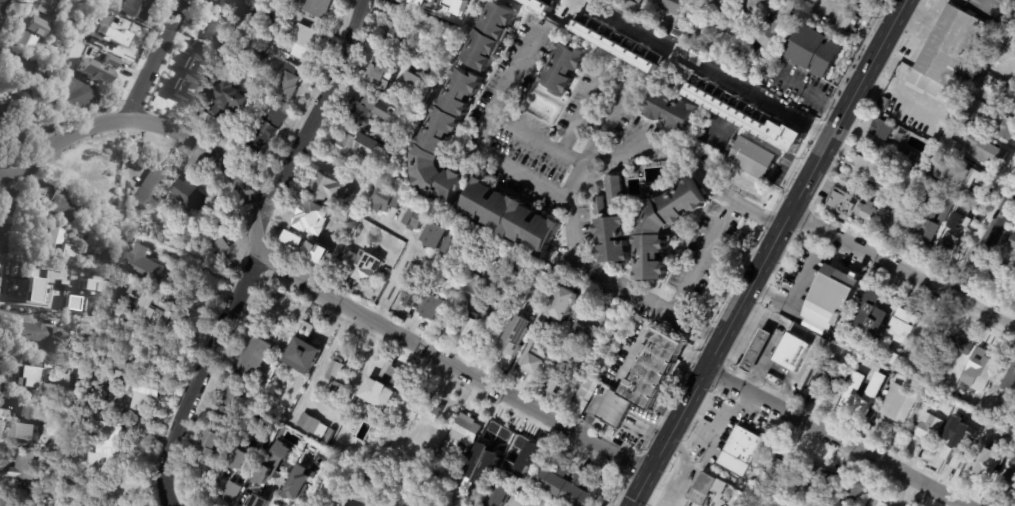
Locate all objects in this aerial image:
power tower: (15, 1)
building: (245, 1)
building: (420, 1)
building: (752, 3)
building: (632, 6)
building: (672, 6)
building: (718, 6)
road: (3, 7)
building: (48, 7)
building: (319, 7)
building: (136, 9)
building: (276, 14)
building: (396, 15)
building: (218, 21)
building: (575, 22)
building: (413, 24)
building: (845, 25)
building: (663, 26)
building: (106, 30)
building: (677, 34)
building: (490, 35)
building: (398, 36)
building: (773, 36)
building: (1005, 39)
building: (28, 40)
building: (126, 40)
building: (617, 42)
building: (698, 42)
building: (307, 43)
building: (195, 46)
building: (953, 48)
building: (818, 53)
building: (421, 55)
building: (232, 56)
building: (55, 59)
road: (158, 60)
building: (990, 63)
building: (195, 64)
building: (19, 67)
building: (105, 68)
building: (619, 68)
building: (563, 69)
road: (705, 69)
building: (94, 72)
building: (385, 78)
building: (288, 83)
building: (990, 84)
building: (187, 88)
building: (76, 93)
building: (232, 96)
building: (1010, 101)
building: (0, 104)
building: (885, 104)
building: (376, 110)
building: (1, 111)
building: (672, 112)
building: (743, 113)
road: (605, 122)
building: (969, 122)
building: (1002, 125)
building: (884, 129)
building: (267, 130)
building: (19, 131)
building: (900, 138)
building: (443, 139)
road: (535, 139)
building: (951, 143)
building: (361, 147)
road: (674, 150)
building: (986, 150)
building: (887, 152)
building: (903, 154)
building: (753, 157)
building: (916, 159)
building: (104, 163)
building: (865, 168)
building: (892, 169)
building: (74, 177)
building: (972, 177)
building: (910, 180)
building: (894, 183)
building: (152, 186)
parking lot: (827, 187)
building: (869, 187)
building: (329, 189)
building: (187, 191)
building: (615, 195)
road: (560, 197)
building: (385, 199)
building: (841, 201)
building: (63, 204)
building: (601, 207)
building: (947, 209)
building: (509, 217)
building: (884, 218)
building: (959, 218)
building: (415, 219)
building: (368, 220)
road: (8, 222)
building: (929, 227)
building: (662, 229)
building: (312, 232)
building: (436, 234)
building: (79, 236)
building: (210, 237)
building: (615, 241)
road: (248, 242)
road: (986, 243)
building: (1013, 243)
building: (58, 244)
building: (945, 246)
building: (453, 247)
building: (953, 251)
road: (765, 253)
road: (699, 254)
building: (154, 265)
building: (365, 267)
road: (400, 268)
road: (902, 269)
building: (1004, 277)
building: (542, 278)
road: (304, 281)
building: (46, 284)
building: (147, 289)
building: (472, 290)
road: (791, 296)
building: (831, 296)
building: (411, 297)
building: (433, 305)
building: (607, 308)
building: (138, 312)
building: (169, 313)
building: (576, 316)
building: (876, 321)
building: (449, 324)
building: (901, 326)
building: (469, 328)
building: (821, 333)
building: (270, 334)
building: (47, 335)
building: (534, 336)
building: (579, 338)
building: (284, 342)
building: (513, 343)
building: (171, 346)
building: (965, 346)
building: (791, 348)
building: (304, 350)
building: (755, 350)
gas station: (760, 353)
building: (256, 357)
building: (990, 360)
building: (37, 361)
building: (132, 364)
building: (814, 364)
building: (338, 368)
building: (27, 377)
building: (827, 379)
building: (644, 380)
building: (1008, 380)
building: (299, 382)
building: (964, 383)
building: (119, 384)
building: (264, 385)
building: (145, 388)
building: (337, 388)
building: (55, 391)
building: (385, 391)
building: (255, 393)
building: (31, 398)
building: (863, 398)
building: (584, 399)
building: (233, 400)
building: (899, 404)
building: (1010, 404)
building: (1014, 406)
building: (427, 408)
building: (967, 417)
building: (27, 422)
building: (313, 424)
building: (930, 426)
building: (990, 426)
building: (994, 429)
building: (466, 430)
building: (330, 436)
building: (492, 436)
road: (835, 437)
building: (351, 441)
building: (956, 442)
building: (211, 446)
building: (746, 446)
building: (531, 449)
building: (112, 450)
building: (245, 451)
building: (355, 457)
building: (992, 458)
building: (1014, 461)
building: (23, 462)
building: (272, 463)
building: (488, 463)
building: (380, 467)
building: (779, 469)
building: (446, 476)
building: (814, 477)
building: (1009, 479)
building: (297, 483)
building: (568, 483)
building: (827, 486)
building: (62, 489)
building: (700, 490)
building: (851, 492)
building: (430, 493)
building: (230, 494)
building: (500, 494)
building: (3, 499)
road: (170, 501)
building: (260, 501)
building: (414, 503)
building: (877, 503)
building: (761, 505)
building: (787, 505)

